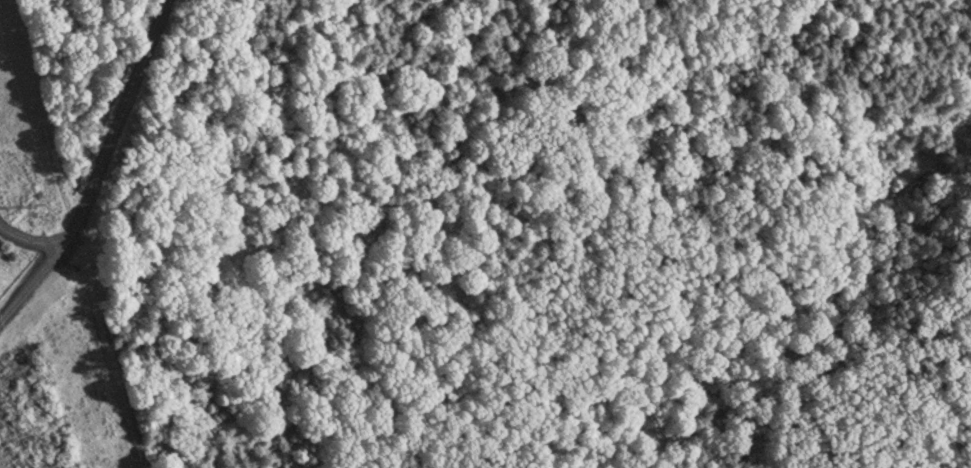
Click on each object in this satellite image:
power tower: (52, 204)
road: (388, 208)

